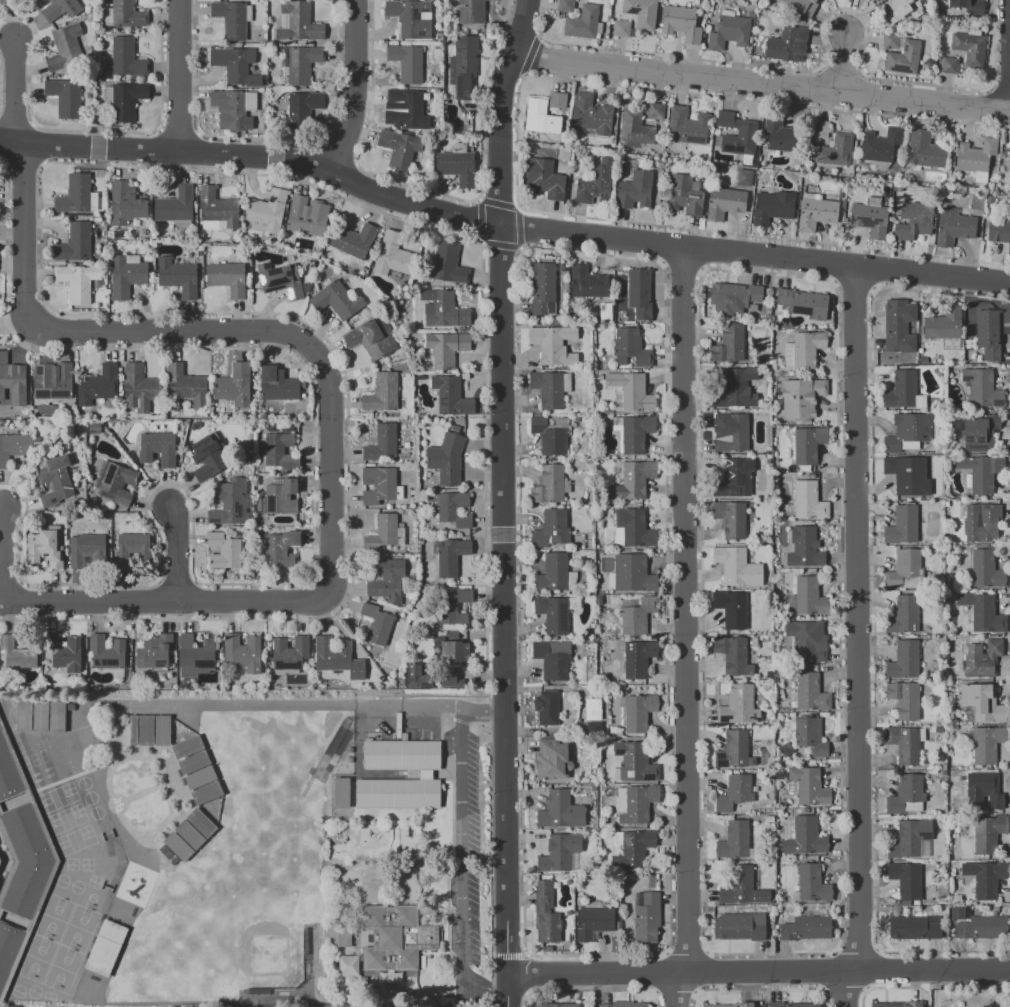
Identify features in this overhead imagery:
building: (5, 1)
building: (563, 6)
building: (803, 6)
building: (965, 6)
building: (898, 8)
building: (61, 9)
building: (472, 11)
building: (641, 13)
building: (125, 15)
building: (231, 18)
building: (410, 18)
building: (297, 22)
building: (582, 22)
building: (681, 23)
building: (620, 28)
building: (729, 31)
building: (890, 39)
building: (786, 44)
building: (65, 48)
building: (970, 48)
road: (1005, 52)
building: (126, 57)
building: (904, 58)
building: (406, 62)
road: (844, 62)
building: (235, 64)
building: (302, 64)
building: (462, 65)
building: (949, 65)
road: (179, 76)
road: (760, 79)
road: (357, 91)
road: (14, 94)
building: (65, 96)
building: (557, 99)
building: (124, 100)
road: (1007, 105)
building: (408, 107)
building: (233, 108)
building: (301, 110)
road: (500, 110)
building: (656, 111)
building: (591, 114)
building: (541, 117)
building: (687, 126)
building: (635, 128)
building: (820, 129)
building: (737, 134)
building: (780, 134)
building: (879, 145)
building: (399, 147)
building: (836, 150)
building: (924, 150)
building: (564, 154)
building: (975, 156)
road: (251, 161)
building: (456, 164)
building: (744, 177)
building: (1009, 178)
building: (545, 179)
building: (596, 183)
building: (635, 190)
building: (76, 195)
building: (685, 195)
building: (125, 202)
building: (725, 202)
building: (175, 205)
building: (218, 207)
building: (772, 207)
building: (267, 211)
building: (816, 213)
building: (306, 216)
building: (869, 219)
building: (913, 220)
building: (954, 228)
building: (999, 232)
building: (353, 240)
building: (74, 243)
building: (394, 255)
road: (752, 256)
building: (448, 263)
building: (561, 267)
building: (126, 275)
building: (177, 276)
building: (227, 278)
building: (281, 279)
building: (77, 281)
building: (587, 282)
building: (543, 289)
building: (639, 292)
building: (733, 296)
building: (338, 300)
building: (804, 303)
building: (443, 309)
building: (605, 311)
building: (944, 323)
building: (896, 325)
road: (207, 332)
building: (988, 333)
building: (372, 337)
building: (554, 344)
building: (729, 344)
building: (631, 346)
building: (446, 347)
building: (807, 348)
building: (10, 376)
building: (601, 376)
building: (54, 384)
building: (98, 384)
building: (234, 385)
building: (278, 385)
building: (184, 387)
building: (549, 387)
building: (139, 388)
building: (735, 388)
building: (982, 388)
building: (901, 389)
building: (630, 391)
building: (382, 393)
building: (451, 396)
building: (801, 397)
building: (919, 401)
building: (95, 428)
building: (74, 430)
building: (633, 431)
building: (907, 432)
building: (979, 433)
building: (551, 434)
building: (733, 434)
building: (381, 442)
building: (809, 444)
building: (14, 447)
building: (157, 448)
building: (280, 451)
building: (207, 458)
building: (446, 458)
building: (980, 472)
building: (905, 476)
building: (633, 479)
building: (732, 479)
building: (56, 480)
building: (114, 483)
building: (380, 485)
building: (550, 485)
building: (282, 496)
building: (809, 501)
building: (226, 503)
building: (450, 508)
building: (731, 518)
building: (982, 523)
building: (902, 525)
building: (632, 527)
building: (551, 529)
building: (386, 533)
building: (807, 544)
building: (46, 547)
building: (132, 549)
building: (280, 549)
building: (87, 550)
building: (223, 551)
road: (174, 554)
building: (449, 556)
road: (5, 557)
building: (736, 566)
building: (985, 569)
building: (905, 570)
building: (555, 573)
building: (635, 574)
building: (386, 580)
building: (809, 597)
road: (162, 598)
building: (574, 602)
building: (453, 607)
building: (731, 608)
building: (983, 612)
building: (553, 613)
road: (503, 615)
building: (637, 615)
building: (903, 615)
building: (377, 624)
road: (688, 627)
building: (452, 636)
road: (860, 637)
building: (808, 640)
building: (453, 650)
building: (64, 652)
building: (155, 652)
building: (289, 652)
building: (242, 653)
building: (16, 654)
building: (108, 655)
building: (195, 655)
building: (733, 655)
building: (337, 657)
building: (637, 657)
building: (553, 658)
building: (982, 658)
building: (904, 660)
building: (417, 677)
building: (382, 678)
building: (402, 682)
building: (460, 683)
building: (811, 692)
building: (905, 699)
building: (982, 702)
building: (738, 705)
building: (547, 707)
building: (593, 708)
road: (418, 709)
road: (483, 711)
building: (638, 711)
building: (24, 716)
building: (40, 716)
building: (57, 716)
building: (594, 727)
building: (150, 730)
parking lot: (414, 734)
building: (810, 736)
parking lot: (449, 743)
building: (906, 743)
building: (986, 744)
park: (334, 749)
building: (733, 750)
park: (43, 755)
building: (402, 755)
park: (33, 759)
building: (553, 759)
building: (353, 760)
building: (635, 761)
park: (25, 763)
park: (72, 765)
building: (197, 770)
building: (8, 772)
building: (425, 774)
park: (83, 782)
building: (809, 786)
park: (67, 788)
building: (984, 790)
parking lot: (473, 791)
building: (734, 792)
building: (342, 793)
building: (398, 793)
building: (906, 795)
park: (57, 797)
park: (89, 797)
park: (43, 799)
building: (635, 803)
road: (5, 804)
building: (21, 804)
park: (77, 810)
building: (561, 811)
park: (95, 812)
park: (66, 819)
park: (52, 820)
park: (85, 830)
building: (988, 833)
building: (189, 834)
building: (805, 837)
park: (74, 840)
building: (734, 840)
building: (905, 840)
park: (61, 841)
building: (634, 847)
road: (462, 848)
building: (556, 853)
building: (0, 860)
road: (3, 860)
building: (25, 860)
park: (71, 864)
park: (87, 864)
building: (9, 875)
building: (985, 877)
building: (906, 879)
park: (61, 880)
park: (93, 881)
building: (812, 883)
park: (76, 886)
building: (741, 886)
park: (91, 899)
building: (546, 913)
building: (957, 913)
building: (646, 916)
park: (54, 917)
building: (25, 919)
parking lot: (473, 923)
building: (593, 923)
building: (740, 926)
building: (982, 927)
park: (79, 928)
building: (806, 928)
building: (913, 928)
building: (339, 935)
building: (396, 938)
building: (8, 948)
building: (105, 948)
building: (547, 948)
park: (263, 949)
park: (37, 958)
road: (309, 964)
building: (348, 965)
park: (62, 969)
road: (970, 970)
road: (719, 971)
building: (389, 976)
road: (486, 986)
park: (18, 991)
park: (33, 991)
park: (48, 995)
road: (184, 1002)
road: (262, 1004)
building: (624, 1004)
building: (899, 1004)
building: (560, 1005)
building: (728, 1005)
building: (791, 1005)
building: (255, 1006)
road: (377, 1006)
road: (428, 1006)
road: (451, 1006)

